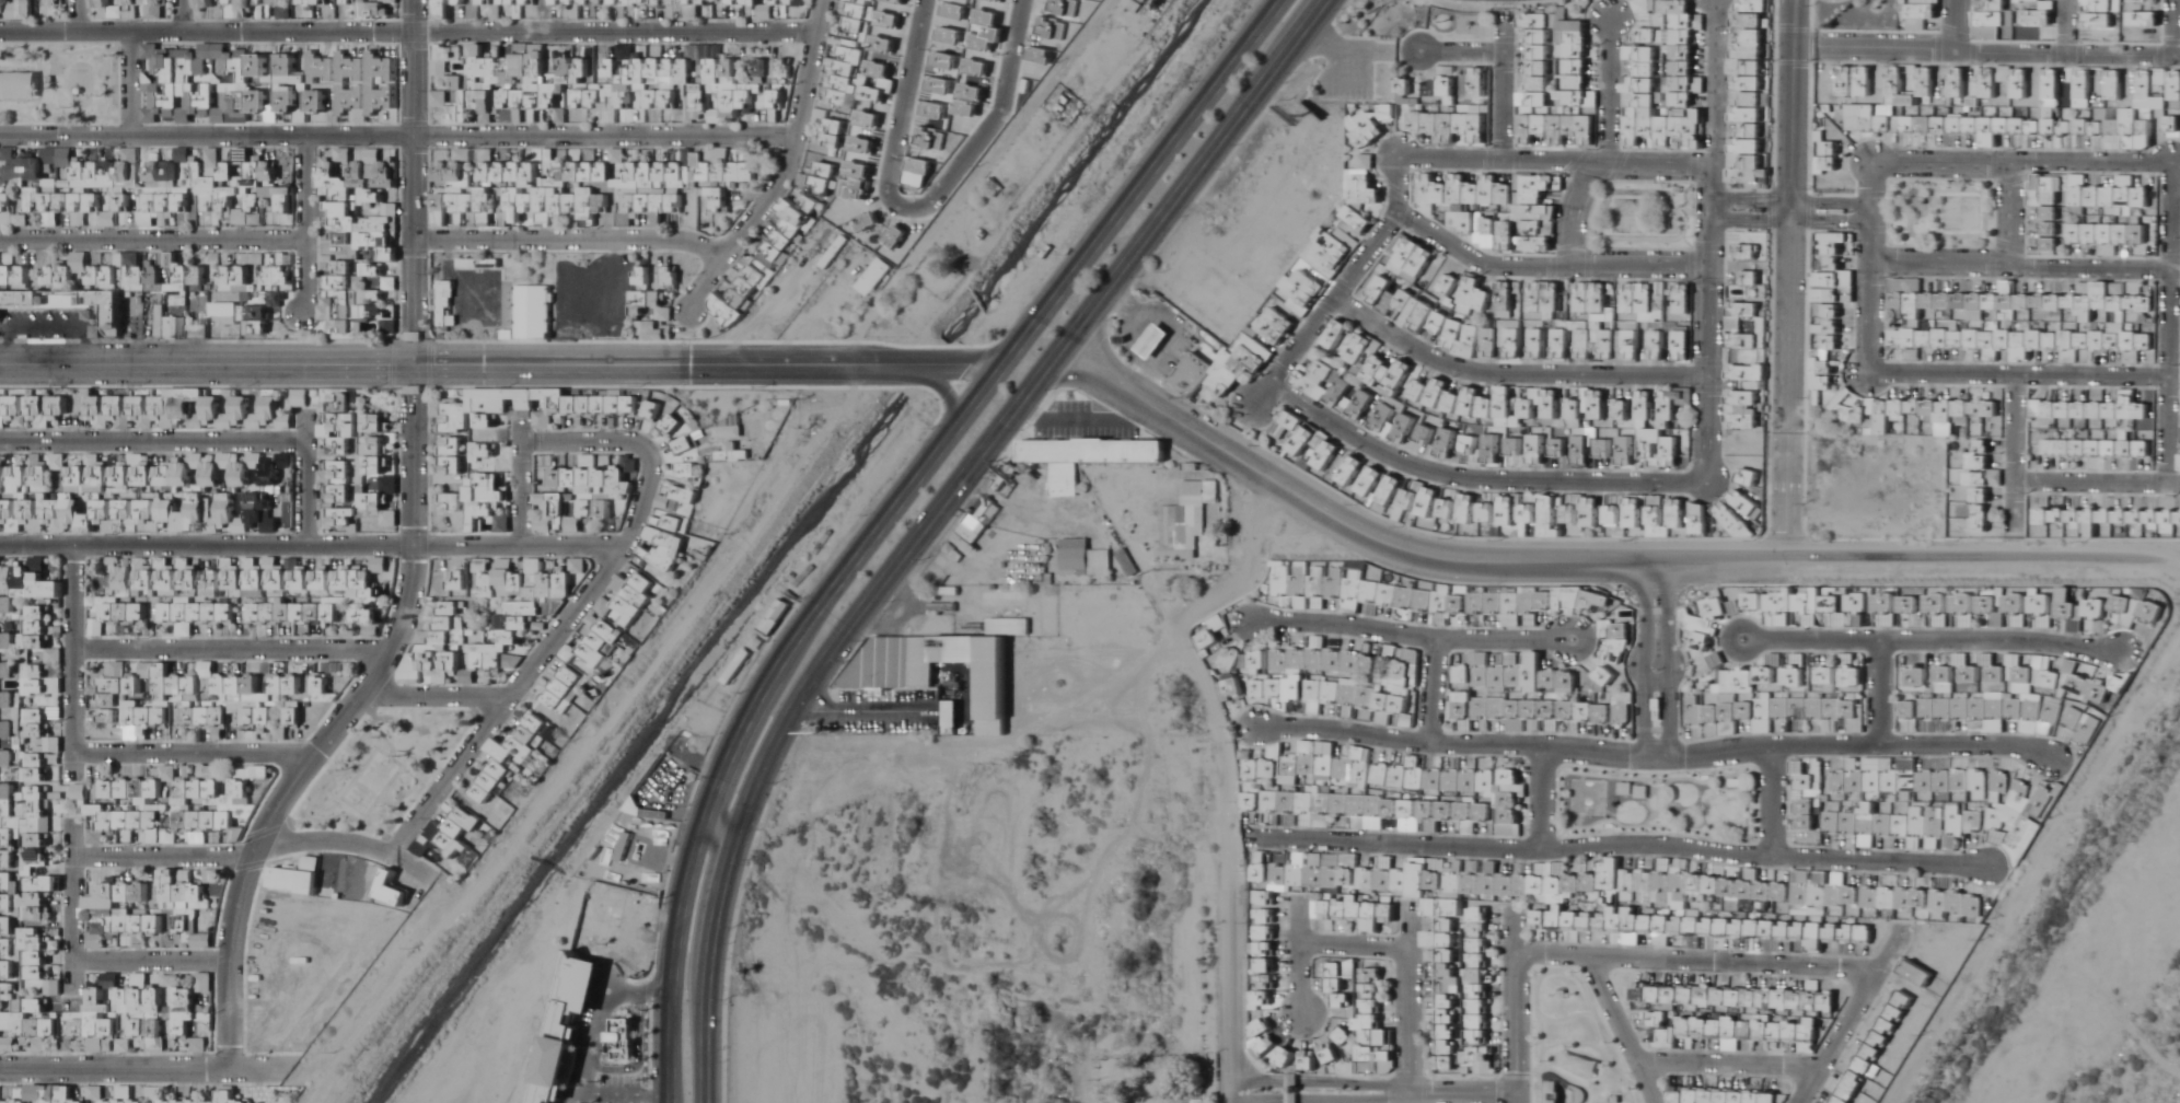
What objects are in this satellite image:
park: (1857, 11)
park: (60, 85)
park: (1944, 209)
park: (1644, 211)
park: (384, 768)
park: (1662, 798)
park: (1575, 1042)

